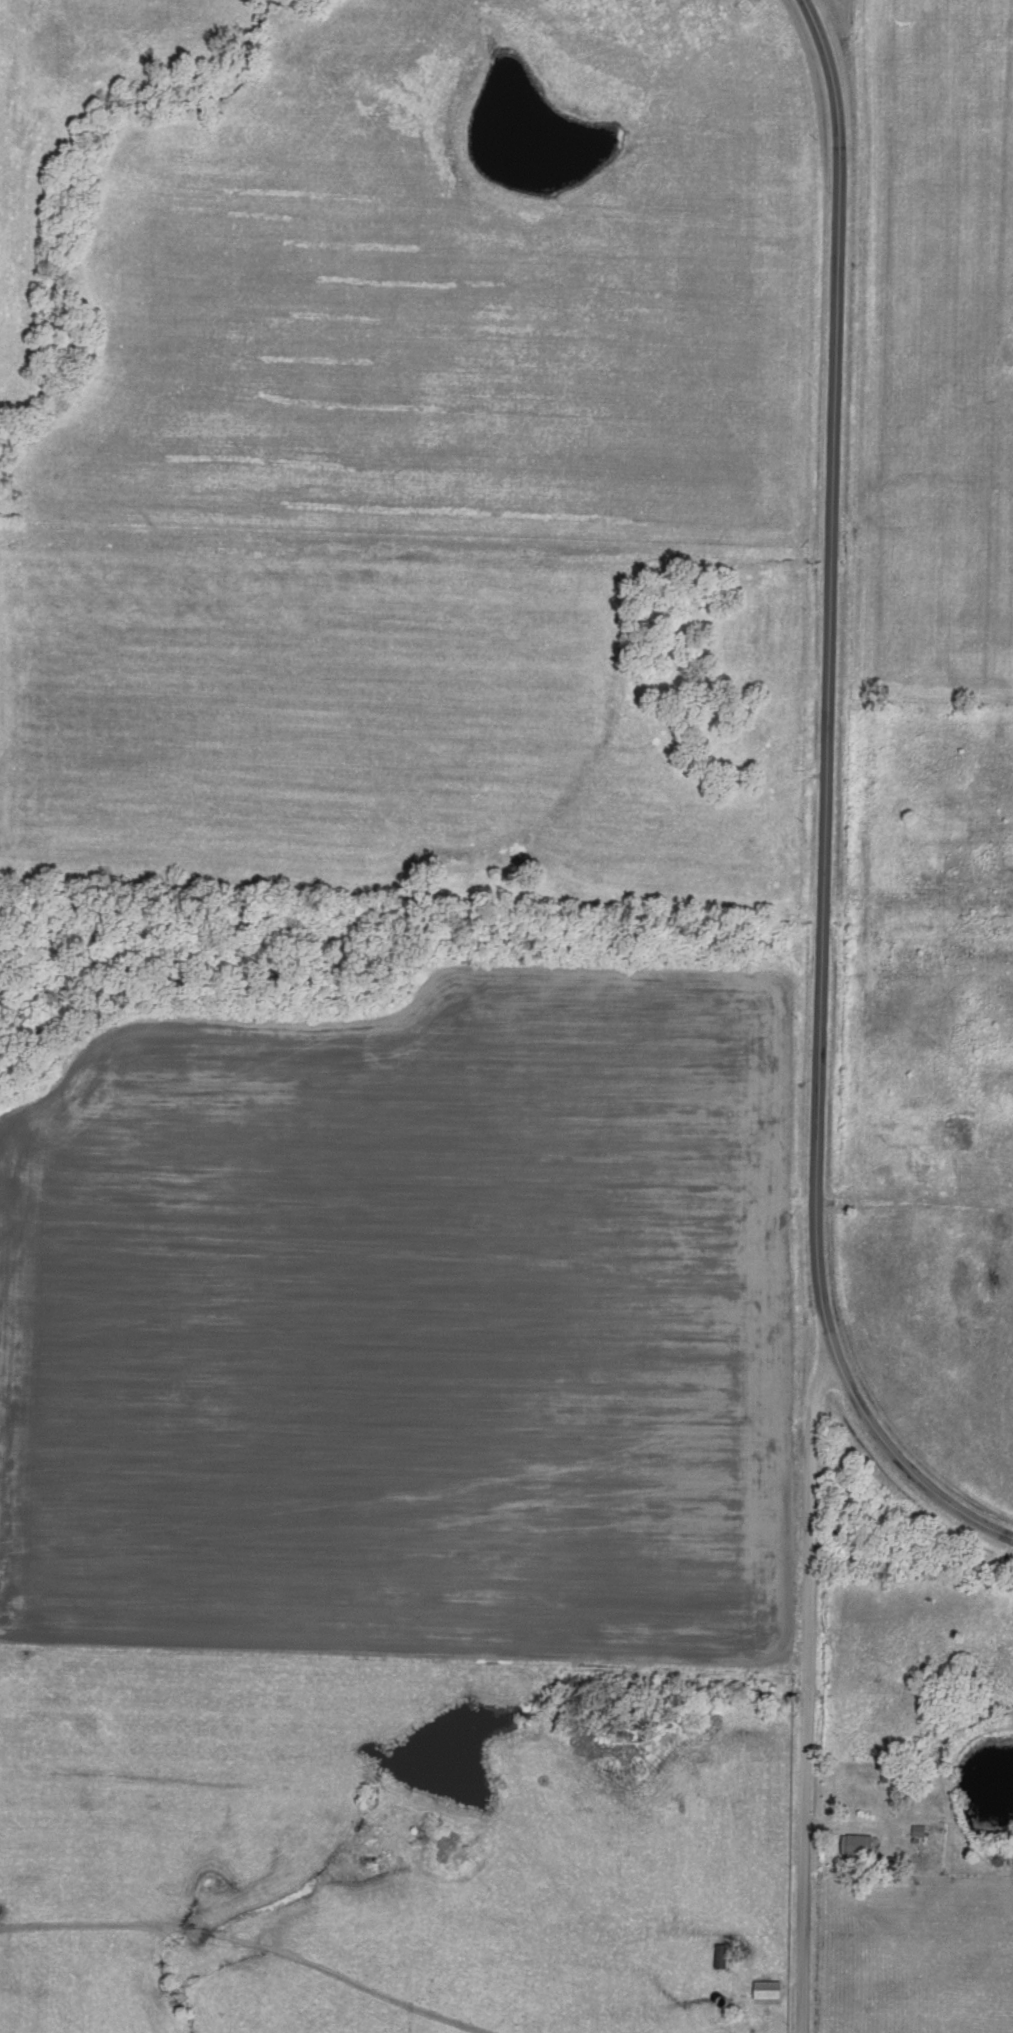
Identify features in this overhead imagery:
road: (827, 807)
road: (915, 1201)
road: (806, 1694)
road: (874, 1815)
building: (855, 1846)
building: (765, 1987)

